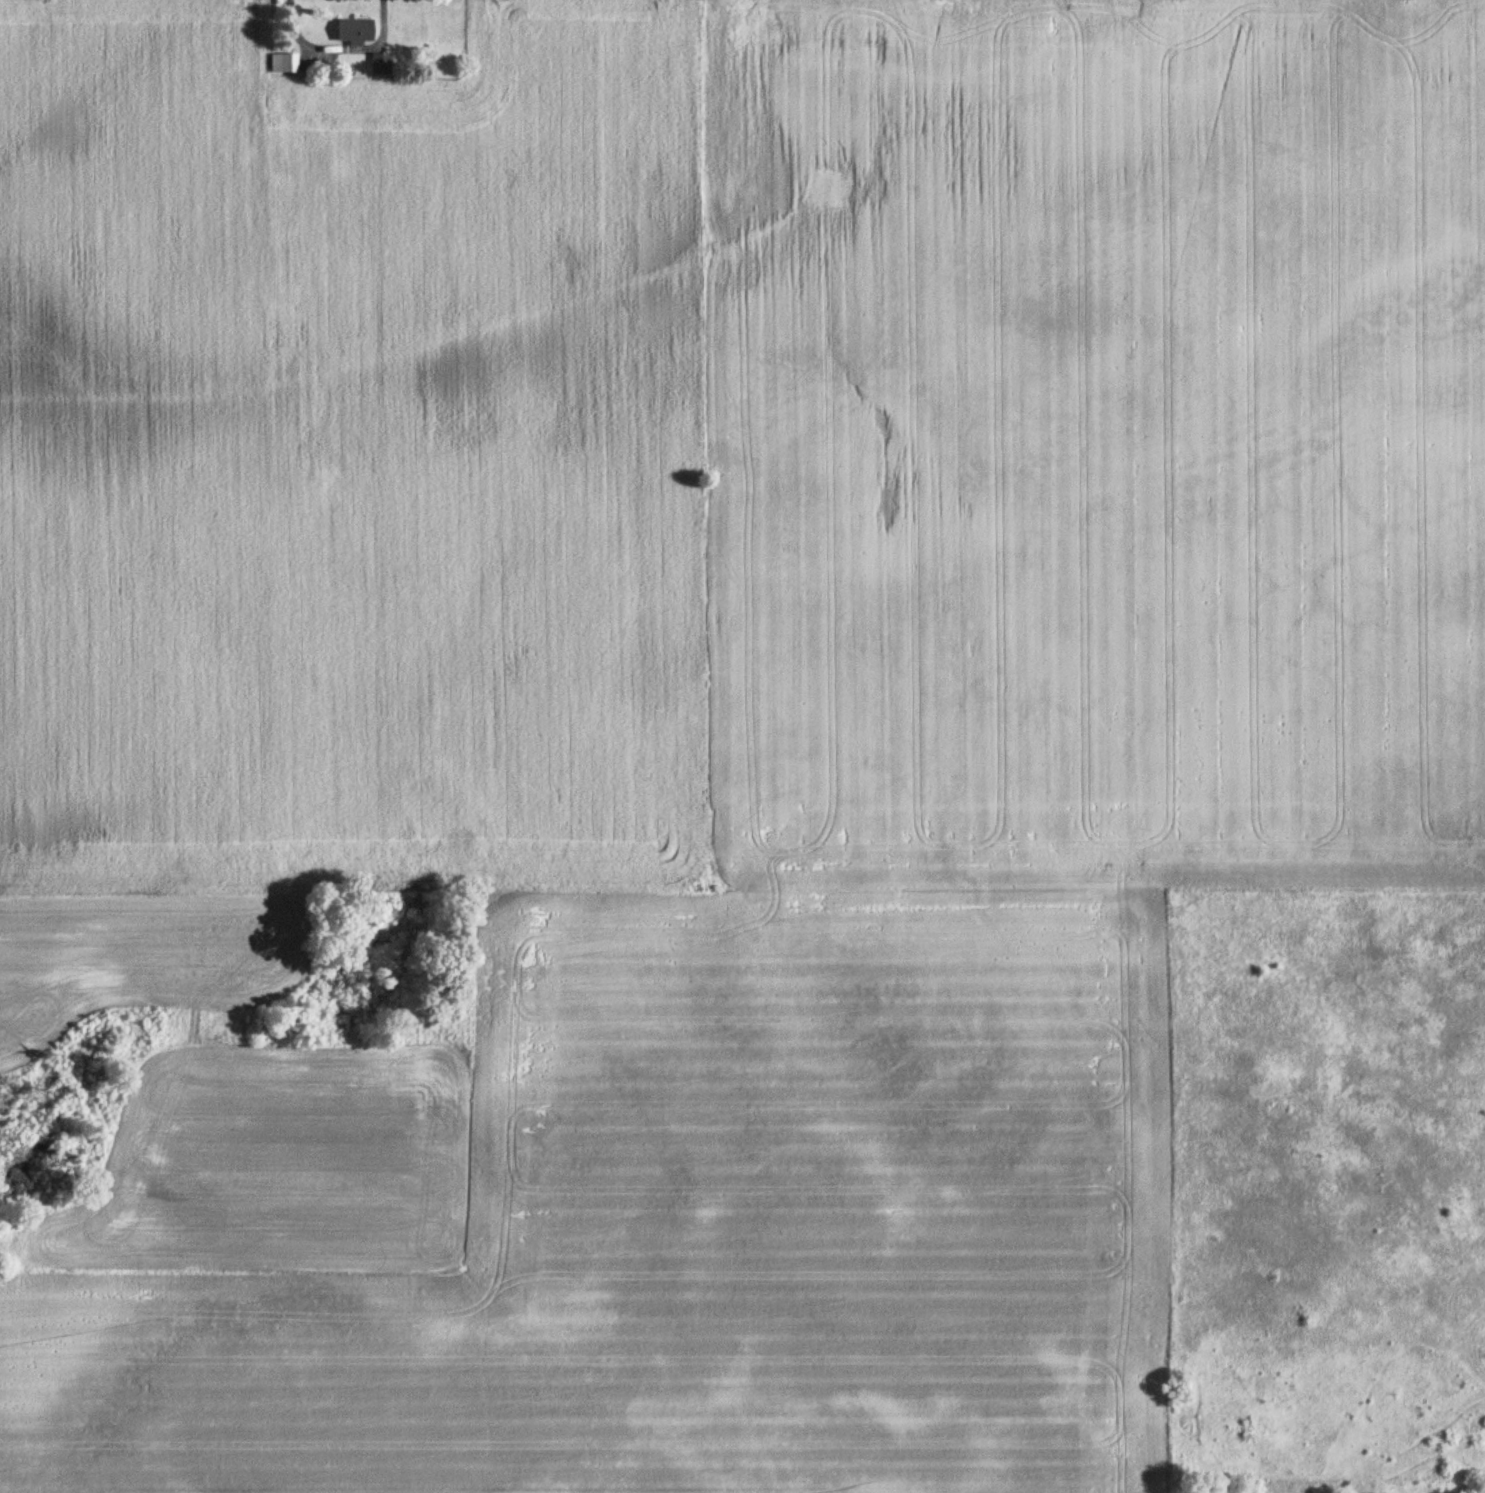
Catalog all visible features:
building: (353, 30)
building: (379, 64)

